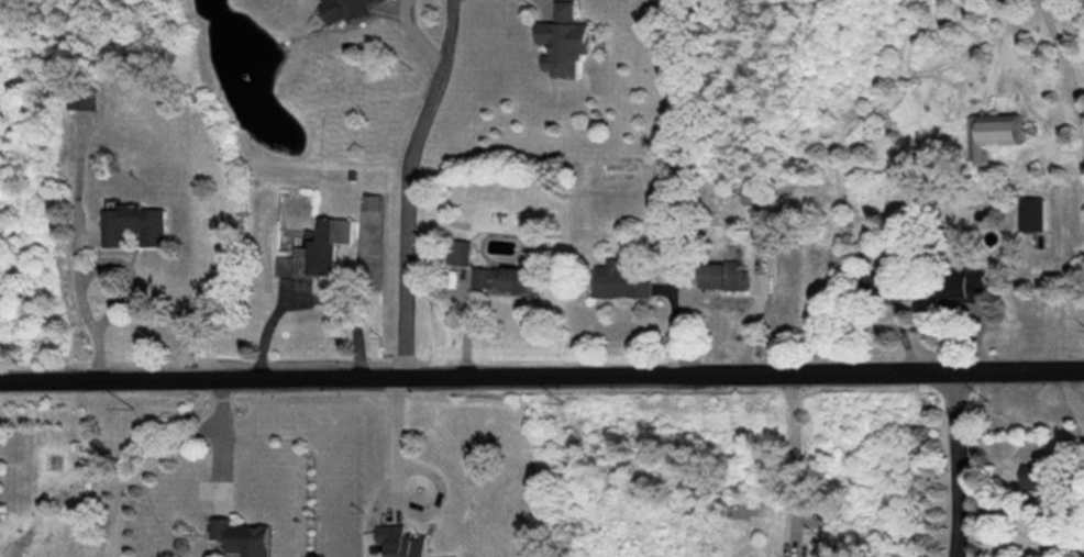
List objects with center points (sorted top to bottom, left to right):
building: (339, 12)
road: (416, 36)
building: (557, 37)
road: (1063, 70)
building: (85, 100)
building: (985, 137)
road: (406, 186)
building: (753, 198)
building: (370, 203)
building: (1027, 213)
building: (128, 220)
building: (321, 241)
building: (455, 252)
building: (719, 276)
building: (495, 277)
building: (617, 277)
building: (960, 286)
building: (881, 289)
road: (310, 297)
road: (85, 313)
road: (541, 377)
road: (219, 439)
road: (392, 439)
road: (796, 458)
road: (954, 465)
road: (139, 470)
building: (1033, 479)
building: (233, 532)
building: (392, 538)

